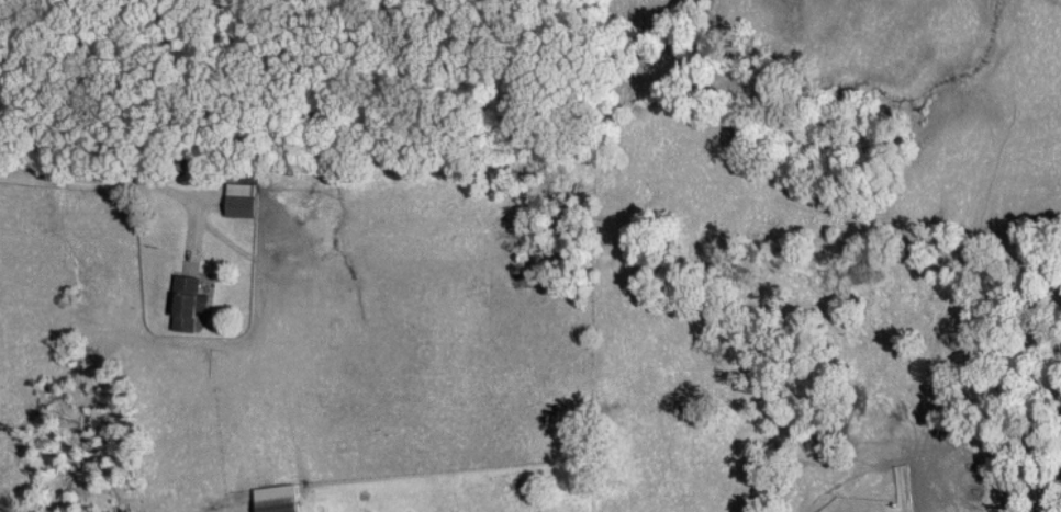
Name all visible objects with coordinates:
building: (237, 200)
building: (186, 303)

